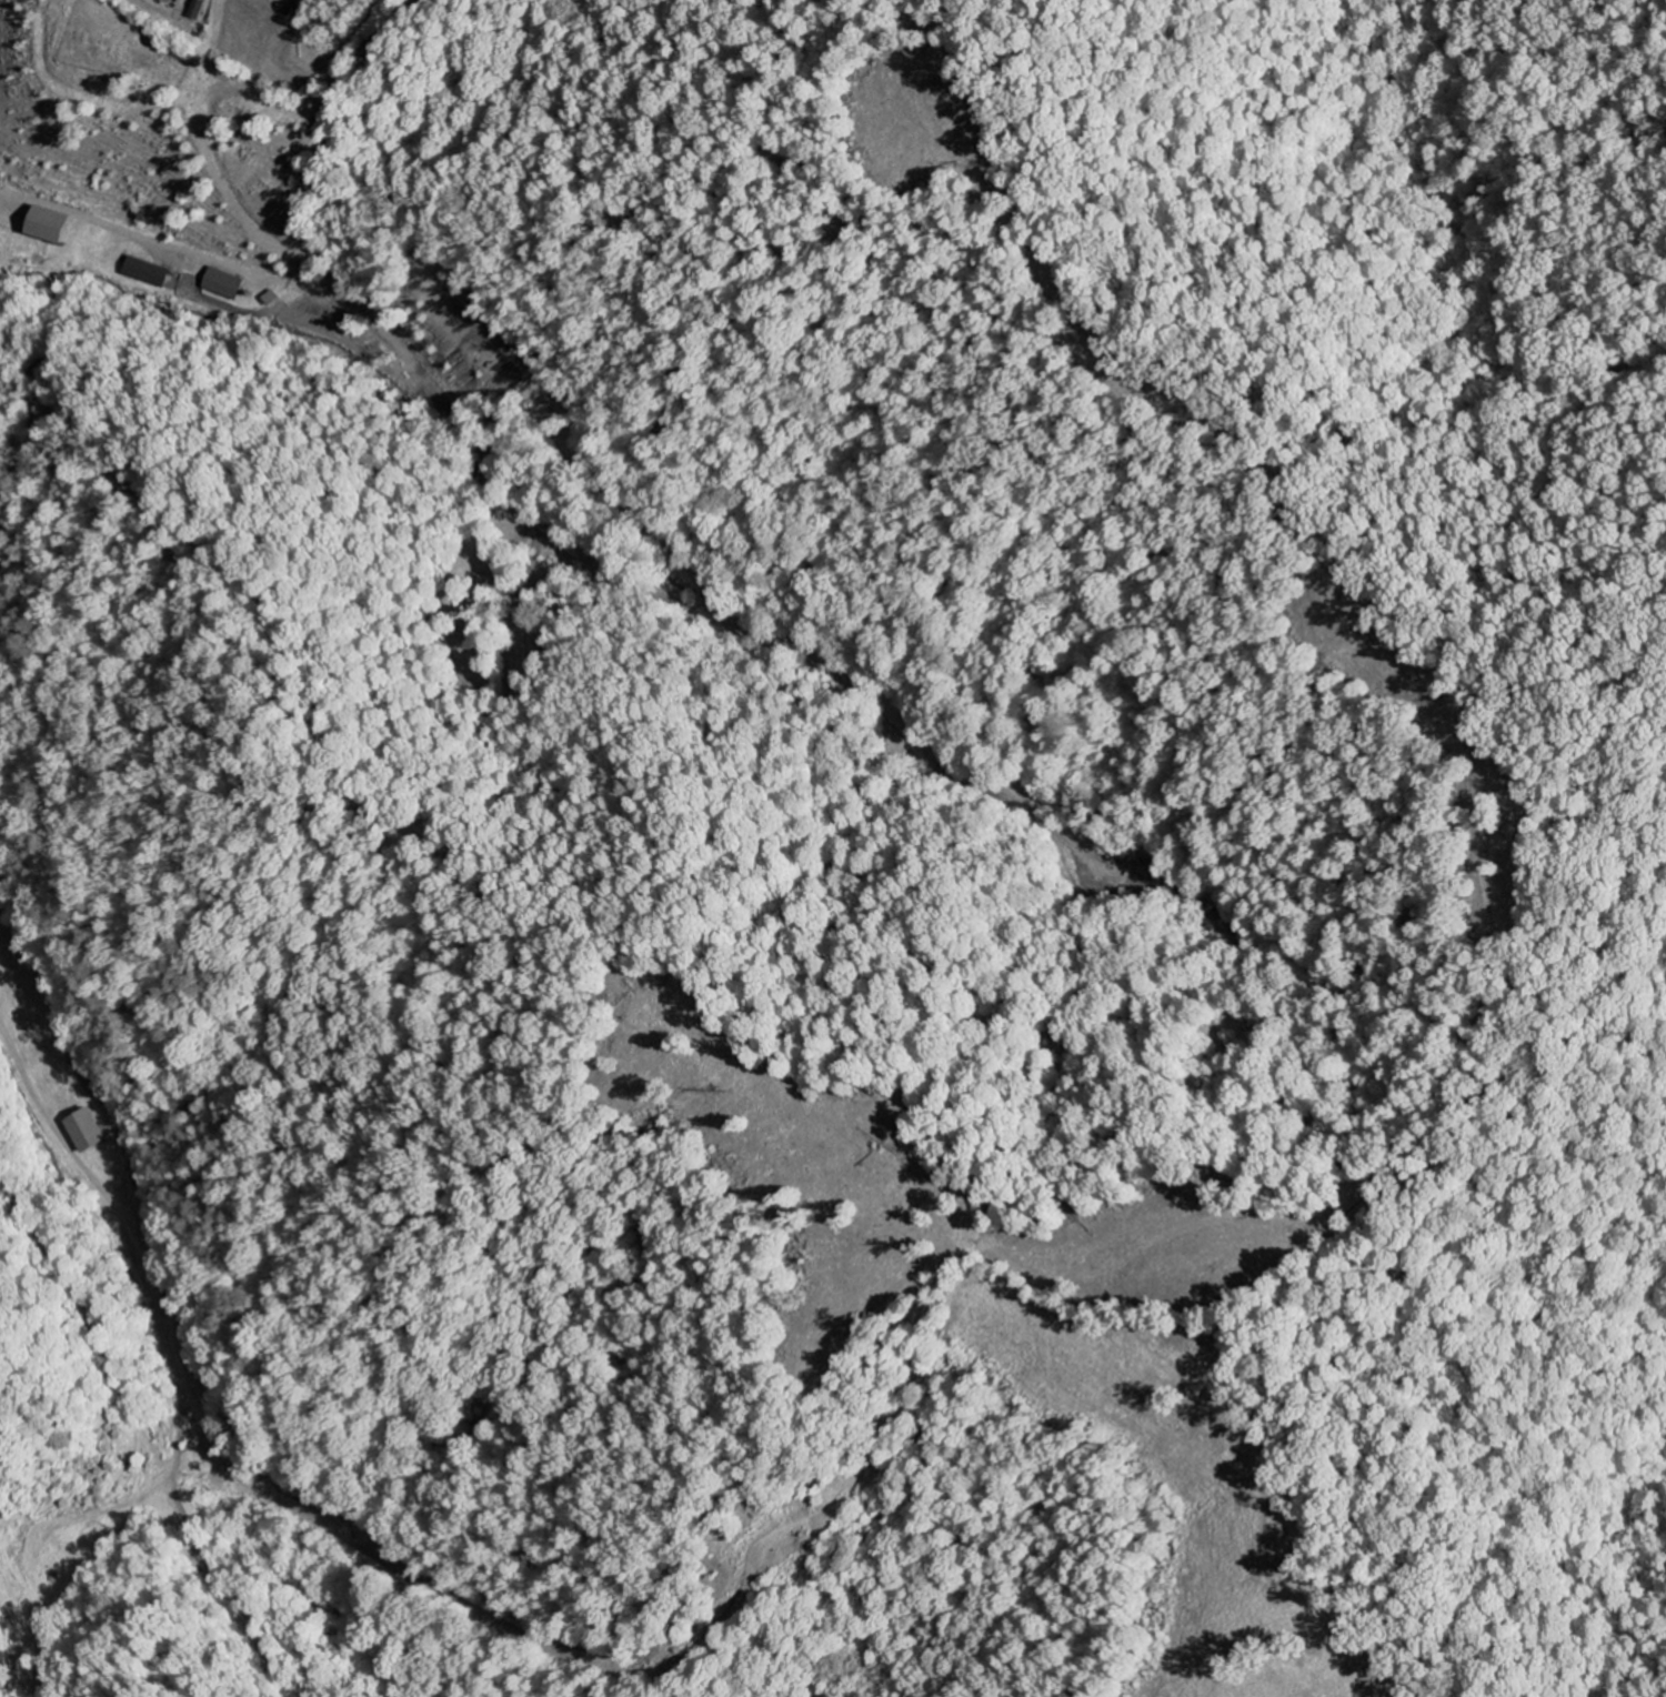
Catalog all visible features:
building: (195, 10)
building: (48, 225)
building: (145, 273)
building: (223, 284)
building: (87, 1132)

